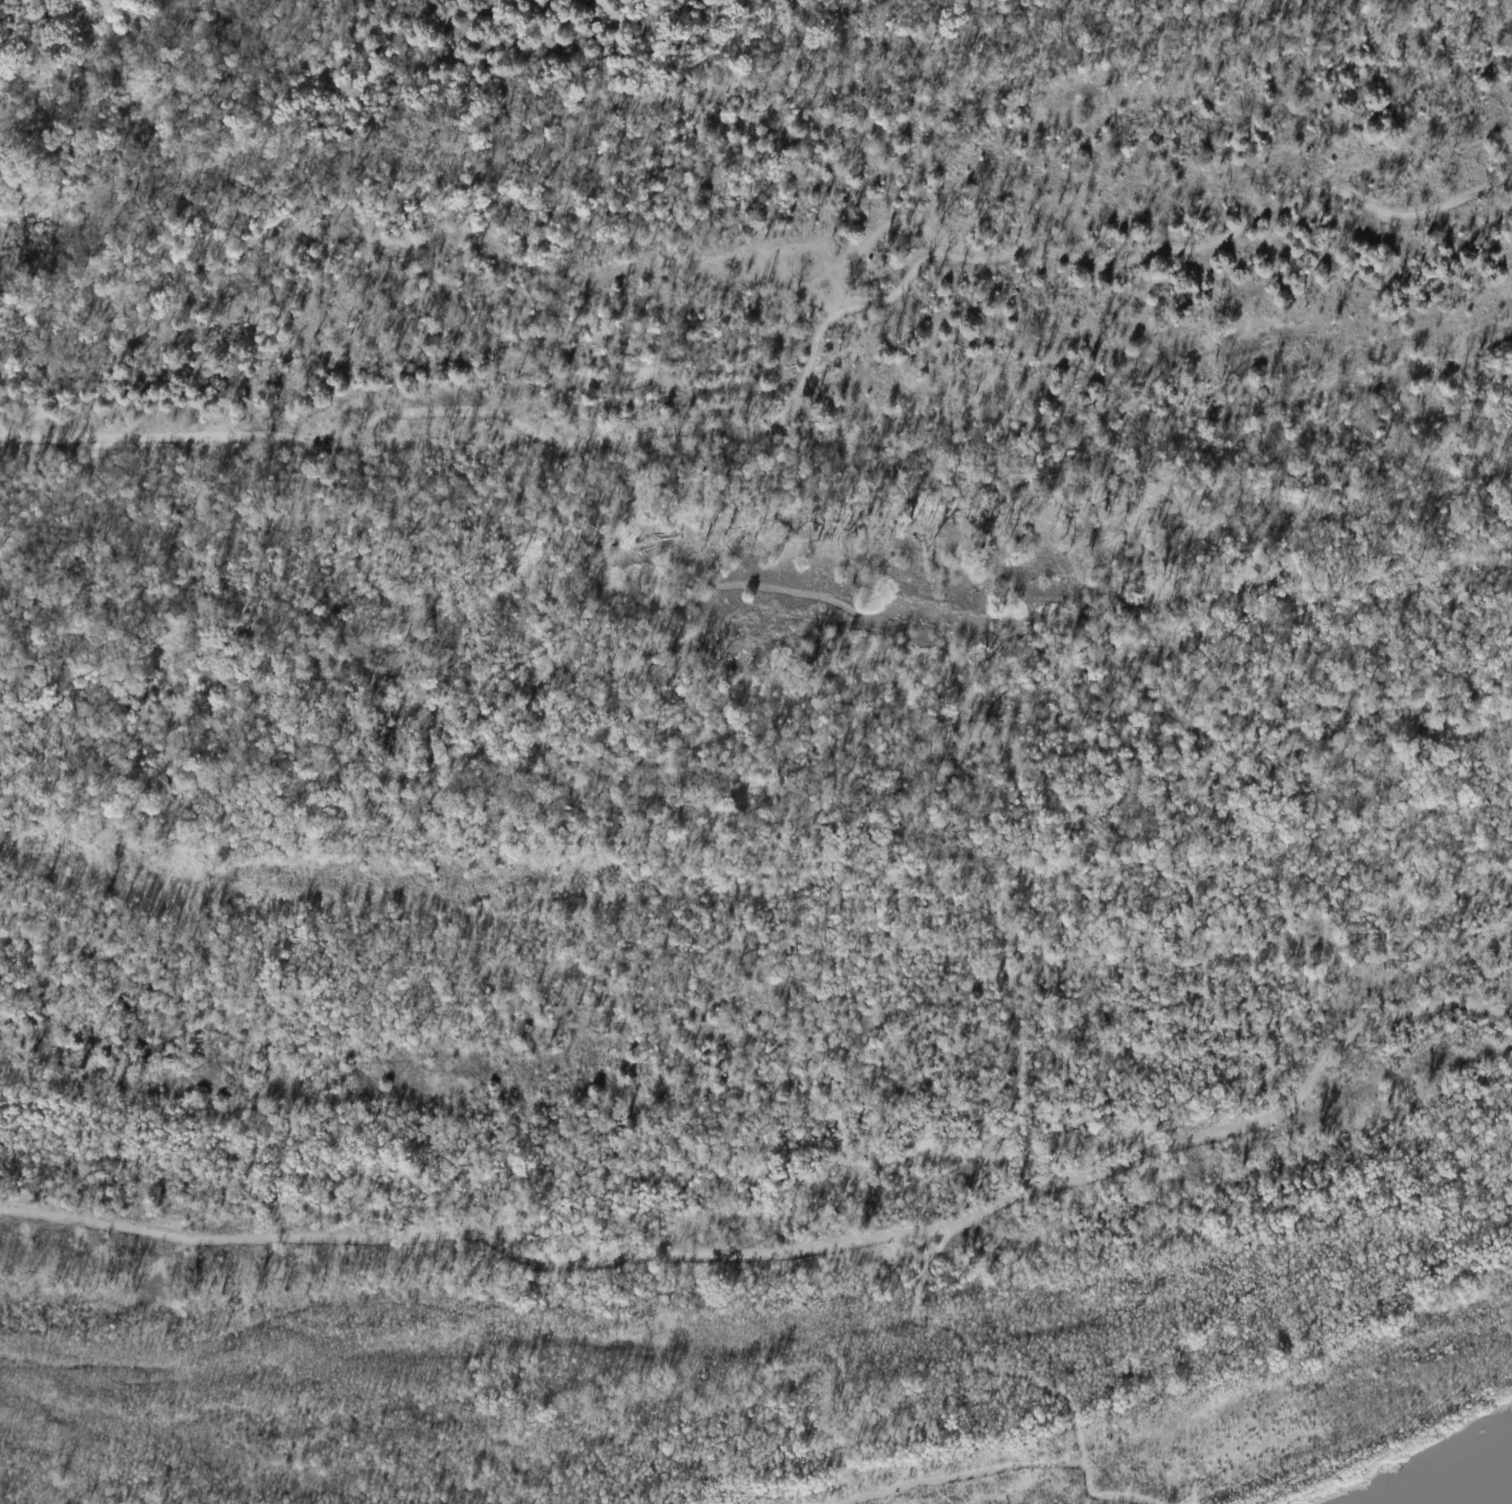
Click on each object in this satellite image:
river: (1338, 1437)

